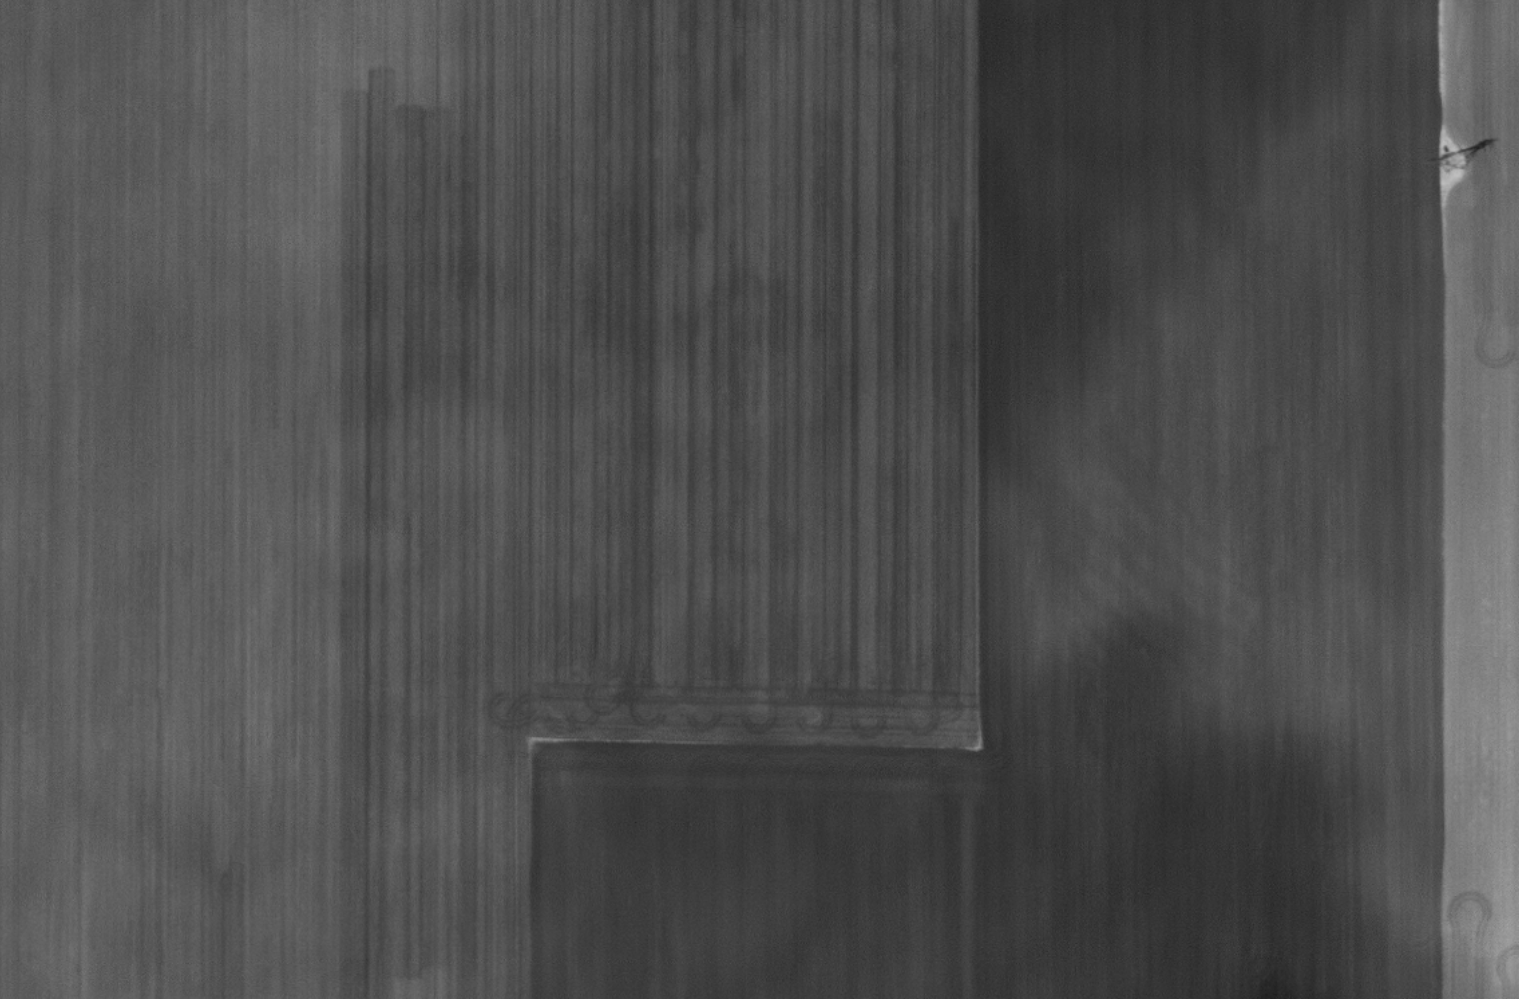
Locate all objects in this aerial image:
power tower: (1459, 158)

